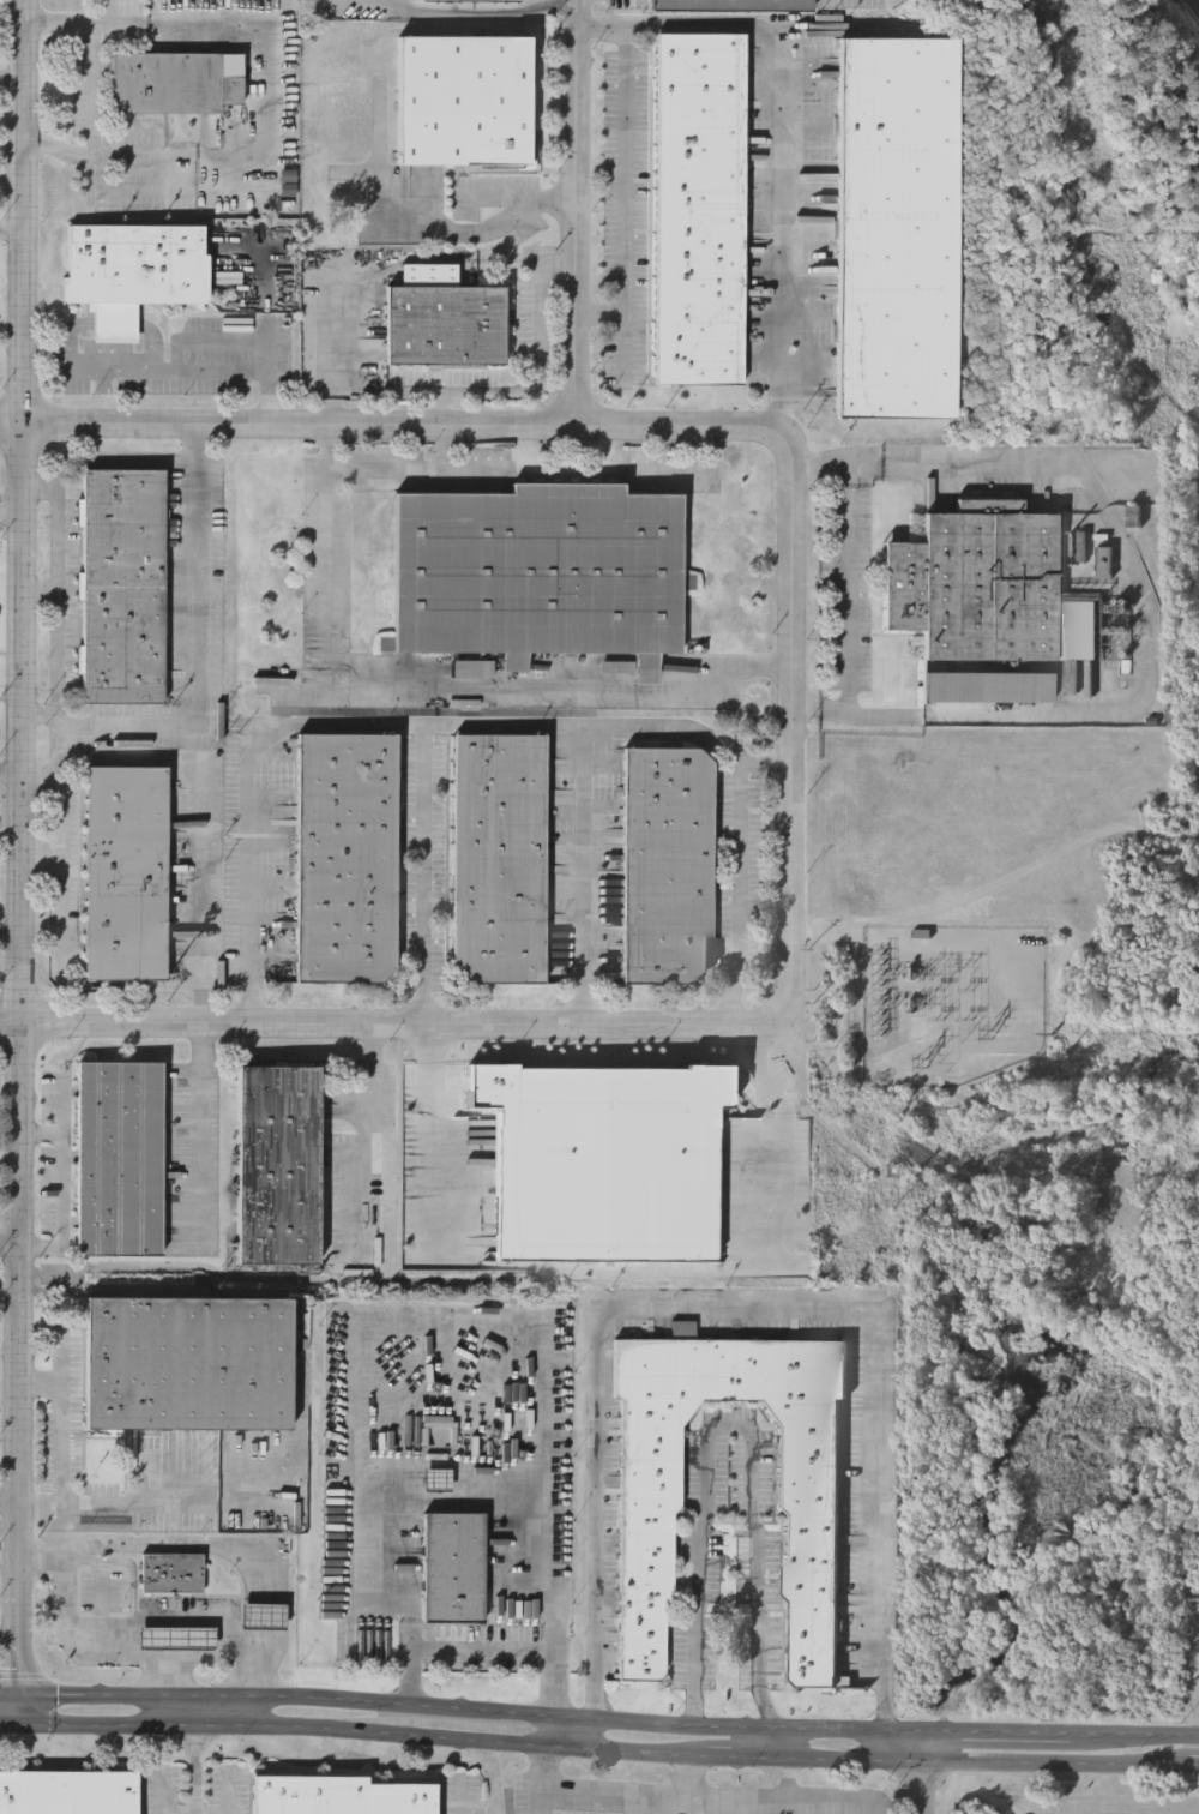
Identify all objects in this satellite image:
building: (486, 0)
river: (1198, 0)
road: (531, 4)
building: (734, 4)
road: (478, 10)
building: (175, 82)
road: (95, 86)
road: (267, 92)
building: (464, 100)
road: (782, 134)
road: (138, 190)
road: (623, 200)
building: (700, 209)
road: (576, 214)
road: (11, 227)
road: (494, 227)
building: (898, 228)
building: (133, 271)
road: (264, 305)
road: (599, 312)
building: (444, 318)
road: (108, 325)
road: (329, 362)
road: (157, 370)
road: (89, 371)
road: (541, 376)
road: (266, 398)
road: (287, 427)
road: (694, 451)
road: (118, 463)
road: (406, 470)
road: (468, 470)
road: (679, 470)
road: (11, 515)
building: (1135, 517)
building: (538, 573)
road: (59, 584)
road: (845, 585)
building: (123, 587)
building: (987, 588)
road: (41, 590)
road: (1152, 609)
road: (790, 623)
road: (197, 662)
building: (472, 669)
road: (440, 687)
building: (989, 687)
road: (463, 723)
road: (19, 764)
road: (10, 775)
road: (199, 794)
road: (247, 795)
building: (347, 858)
building: (498, 858)
building: (667, 865)
building: (126, 873)
road: (583, 873)
road: (737, 889)
road: (10, 933)
building: (921, 933)
road: (60, 945)
power substation: (952, 1003)
road: (396, 1022)
road: (761, 1071)
road: (370, 1081)
road: (428, 1104)
road: (203, 1129)
road: (787, 1154)
building: (120, 1160)
building: (607, 1161)
building: (278, 1166)
road: (62, 1188)
road: (10, 1233)
road: (751, 1301)
building: (188, 1364)
road: (66, 1418)
road: (734, 1426)
building: (808, 1456)
road: (489, 1500)
road: (8, 1502)
road: (147, 1502)
road: (164, 1545)
building: (452, 1568)
building: (170, 1574)
road: (17, 1611)
building: (263, 1616)
road: (264, 1616)
building: (176, 1639)
road: (8, 1648)
road: (483, 1651)
road: (125, 1654)
road: (264, 1663)
road: (164, 1675)
traffic signals: (17, 1694)
road: (17, 1708)
road: (460, 1710)
road: (8, 1723)
traffic signals: (17, 1724)
road: (219, 1728)
road: (555, 1731)
road: (989, 1734)
road: (1127, 1736)
road: (488, 1741)
road: (781, 1744)
road: (623, 1750)
road: (195, 1754)
road: (739, 1758)
road: (990, 1762)
road: (1198, 1767)
road: (920, 1773)
road: (692, 1777)
road: (496, 1778)
road: (785, 1778)
building: (68, 1792)
building: (339, 1796)
road: (542, 1797)
road: (700, 1797)

